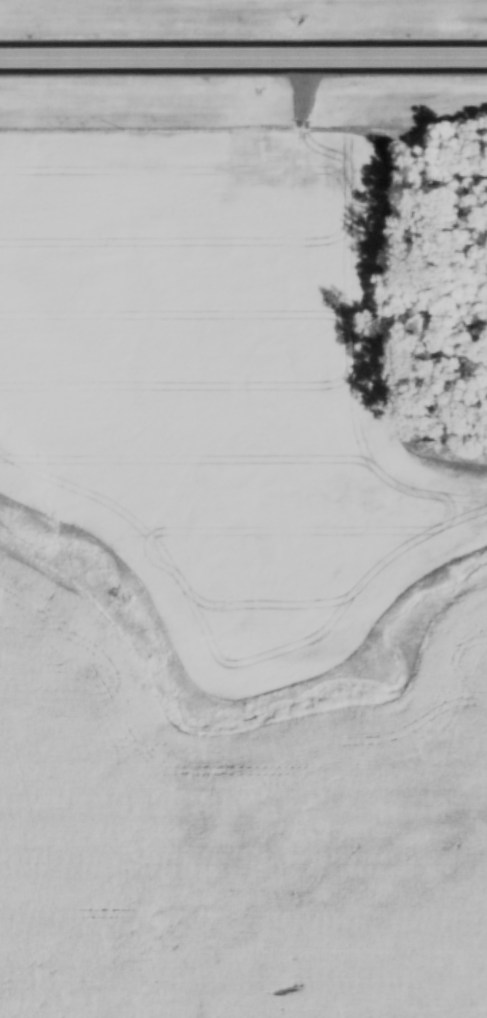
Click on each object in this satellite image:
road: (243, 54)

